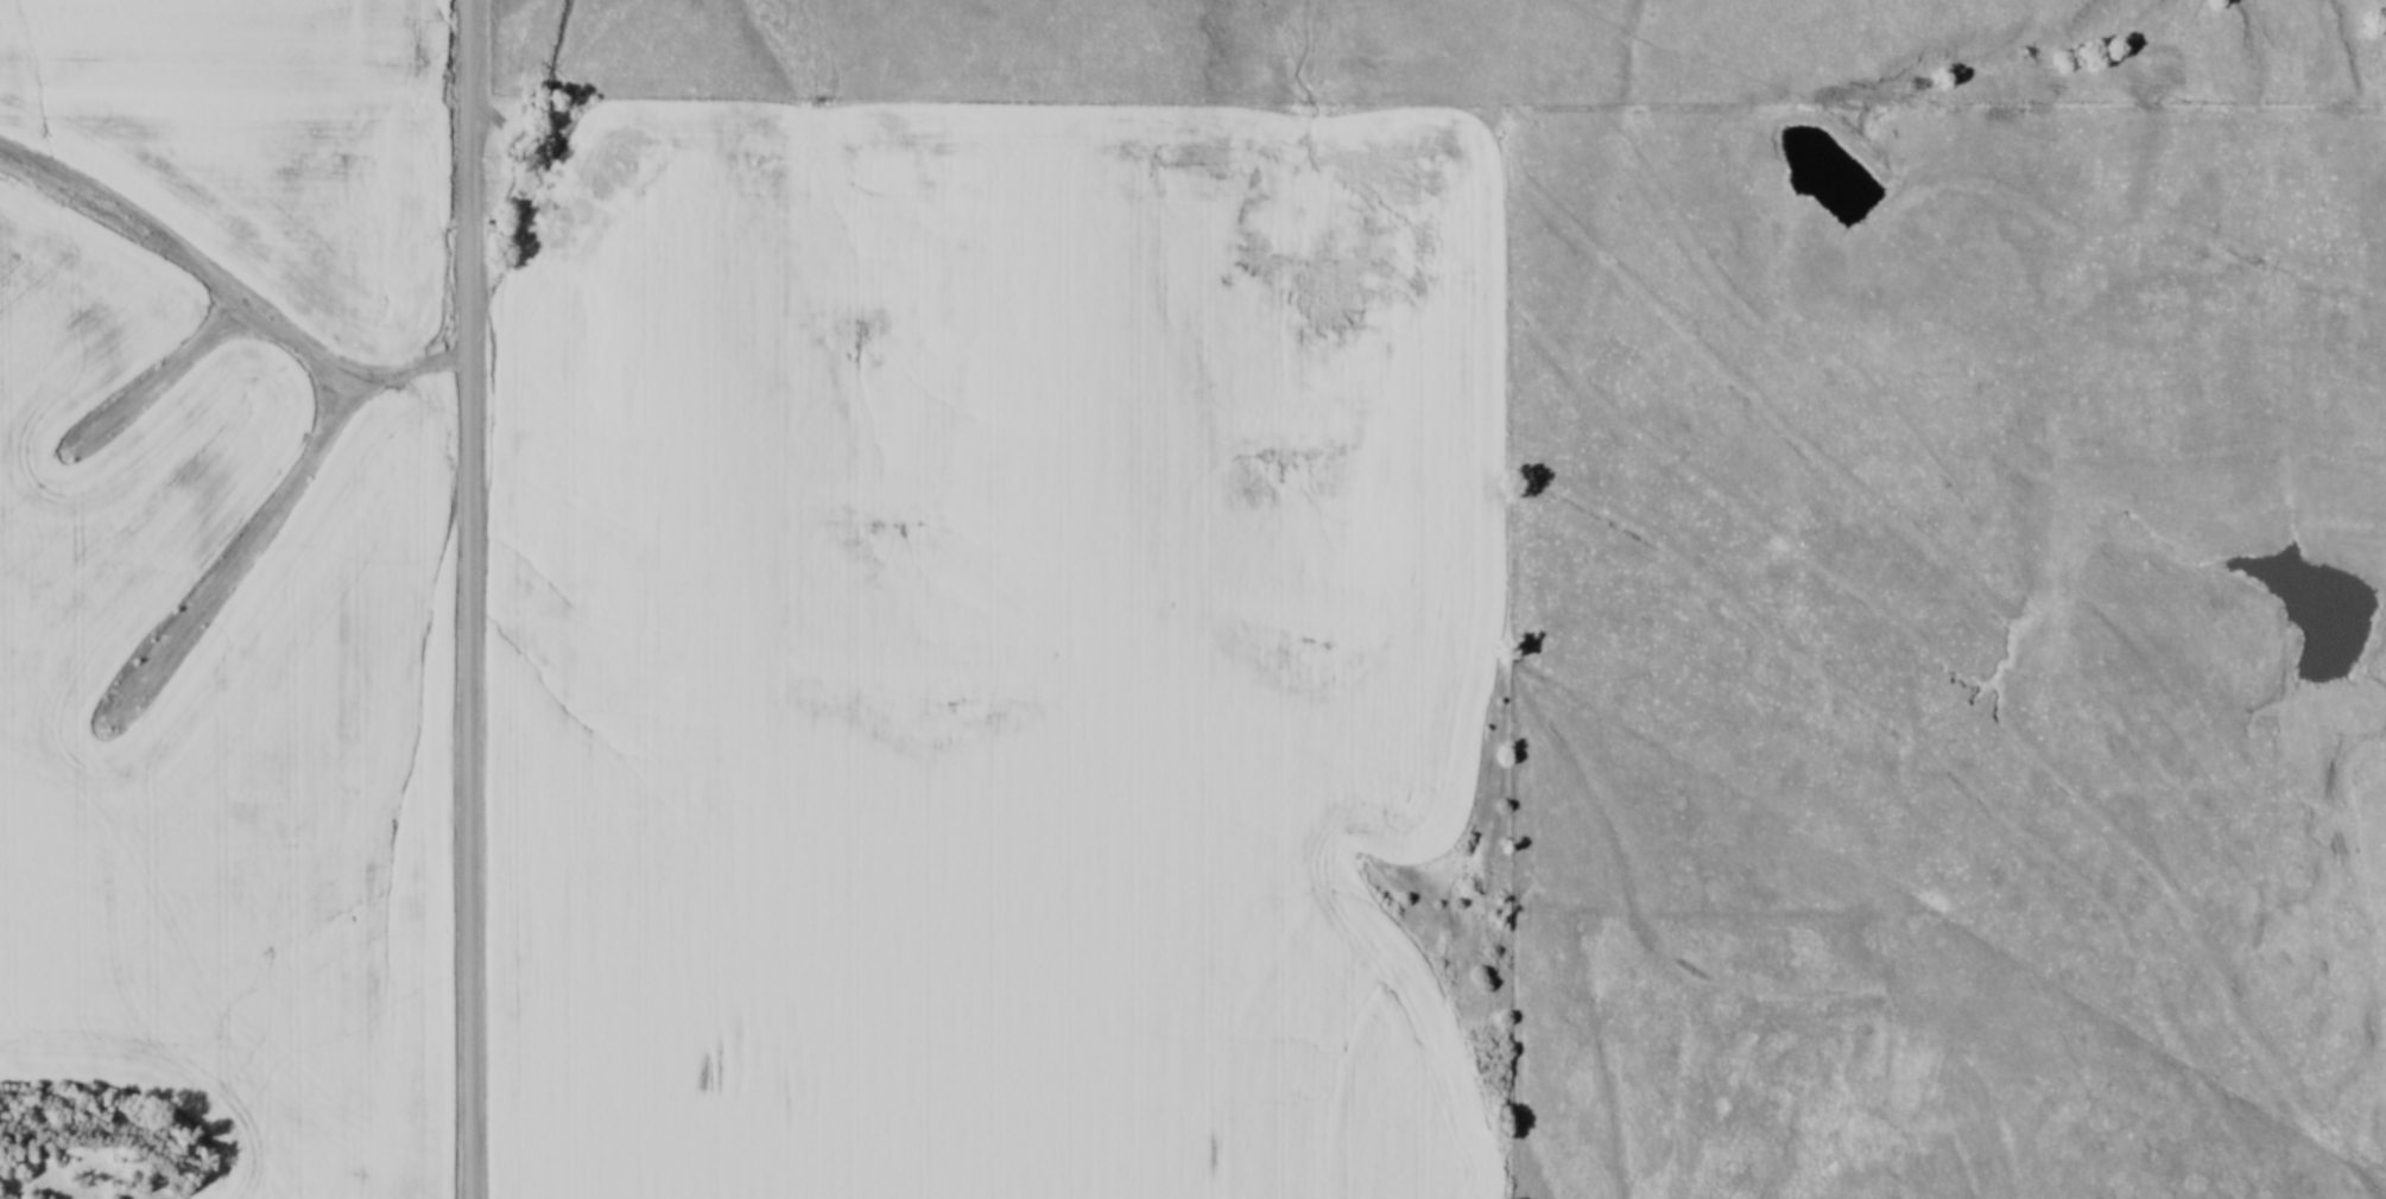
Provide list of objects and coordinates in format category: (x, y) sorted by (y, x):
road: (467, 599)

